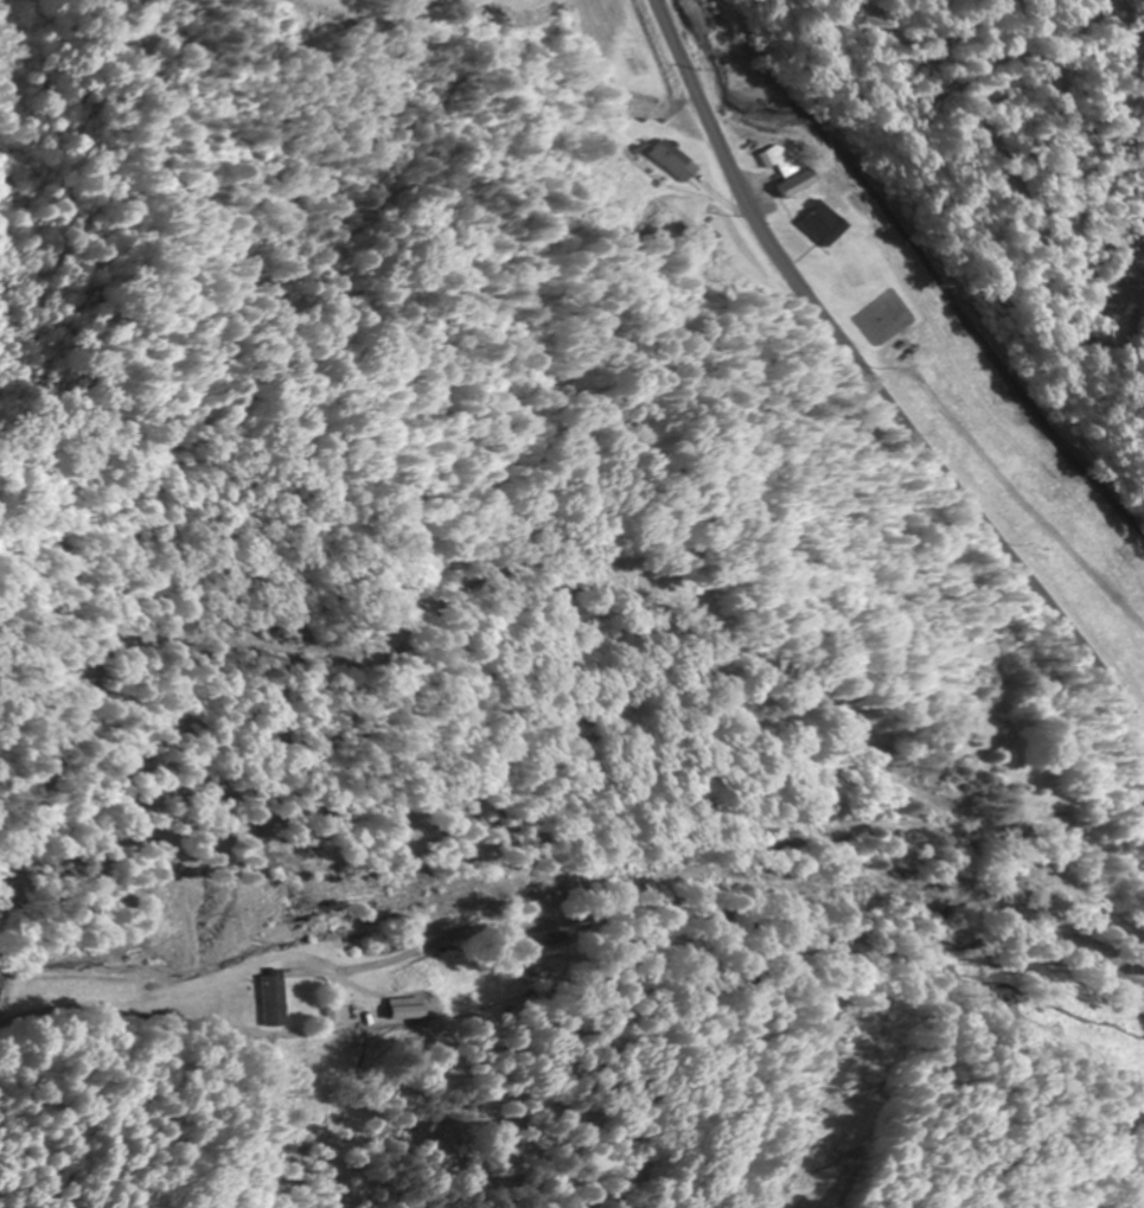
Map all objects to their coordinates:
building: (773, 158)
building: (671, 161)
building: (791, 181)
building: (816, 222)
road: (870, 397)
road: (771, 932)
building: (274, 998)
building: (405, 1008)
building: (338, 1014)

